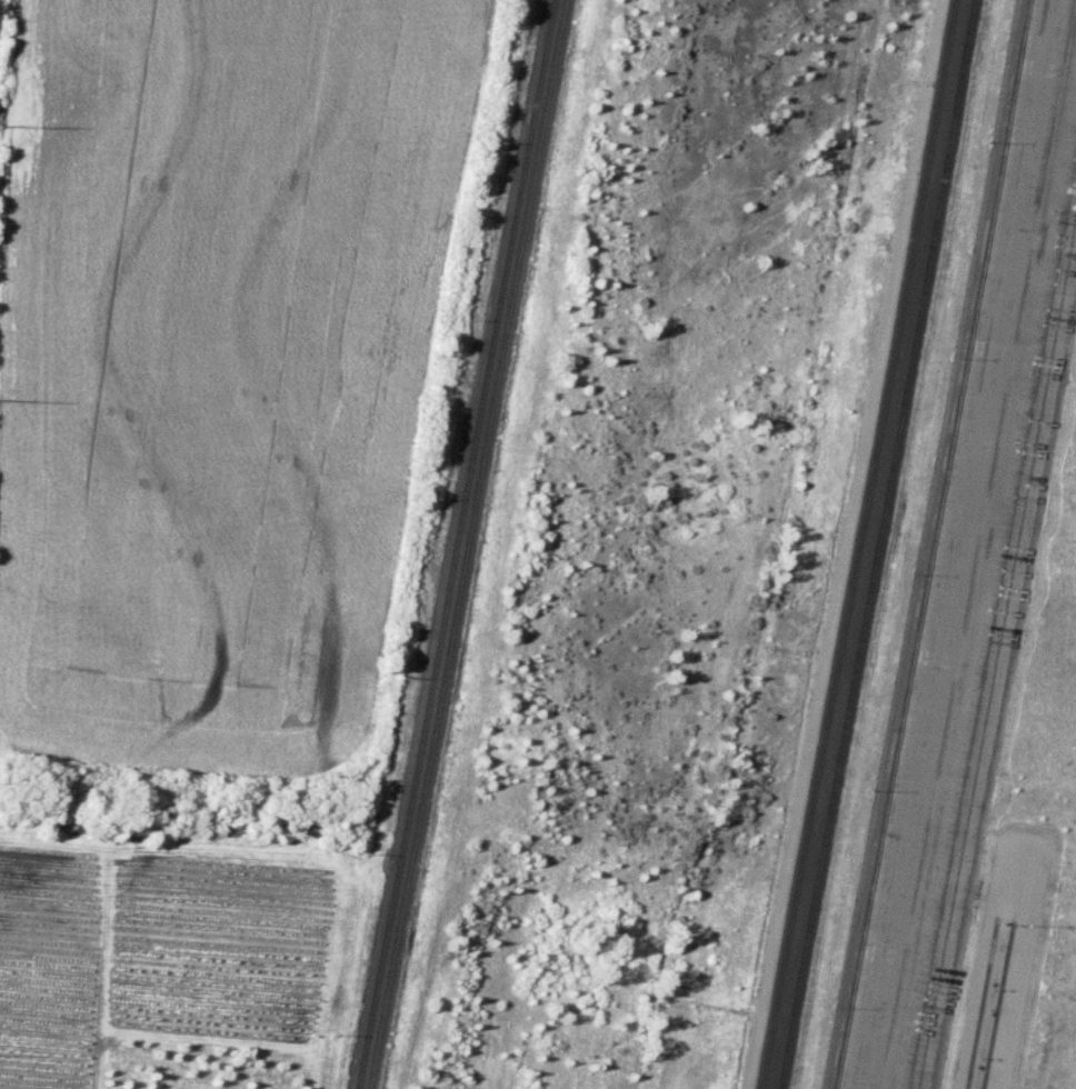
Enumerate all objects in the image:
crop: (232, 374)
railway: (455, 544)
railway: (466, 544)
railway: (877, 544)
railway: (931, 544)
railway: (980, 1001)
railway: (997, 1002)

